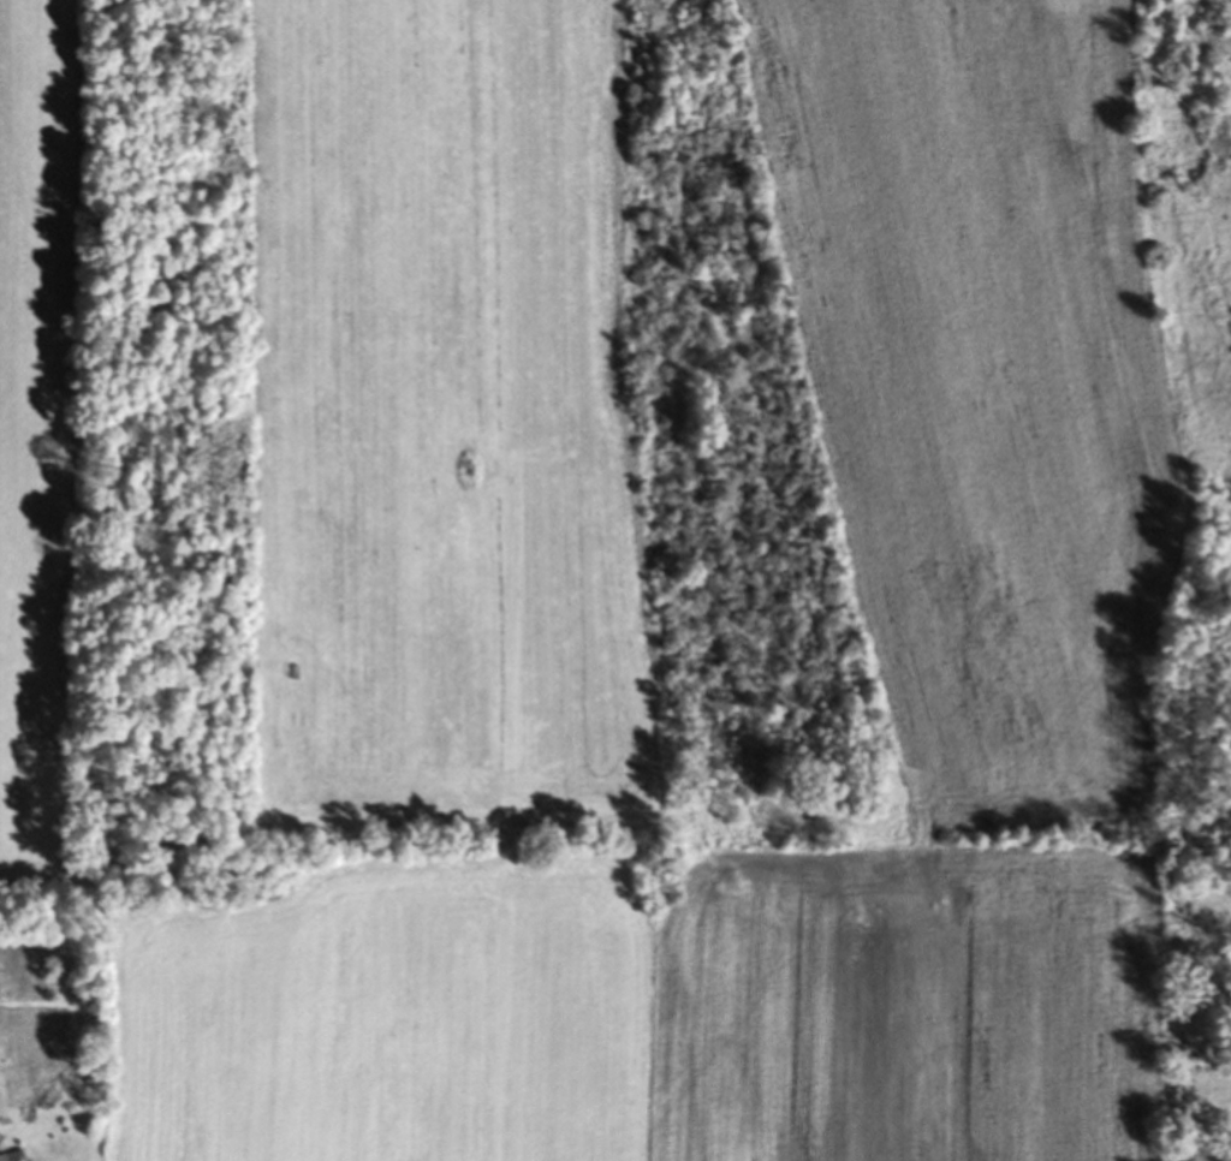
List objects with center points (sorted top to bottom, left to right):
building: (13, 1159)

